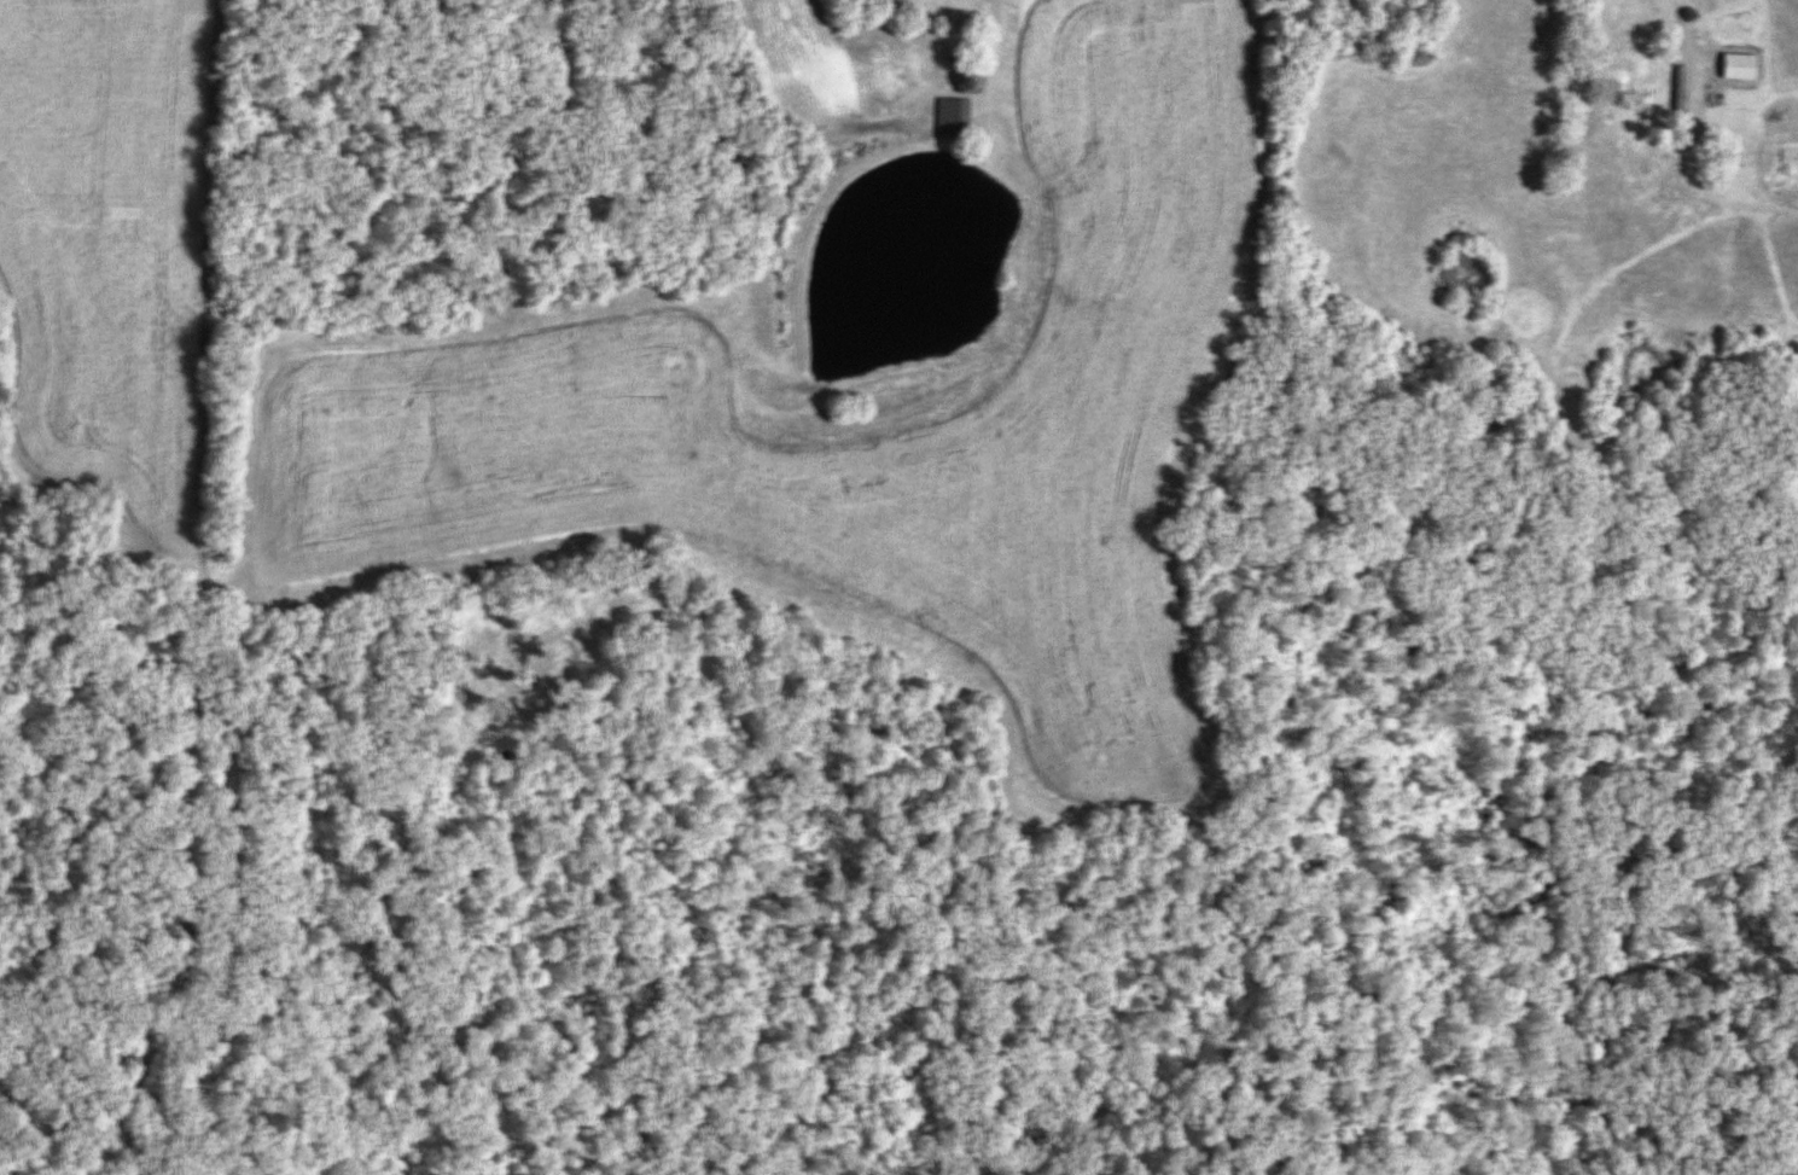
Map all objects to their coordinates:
road: (1687, 35)
building: (1734, 68)
building: (1678, 98)
building: (949, 118)

